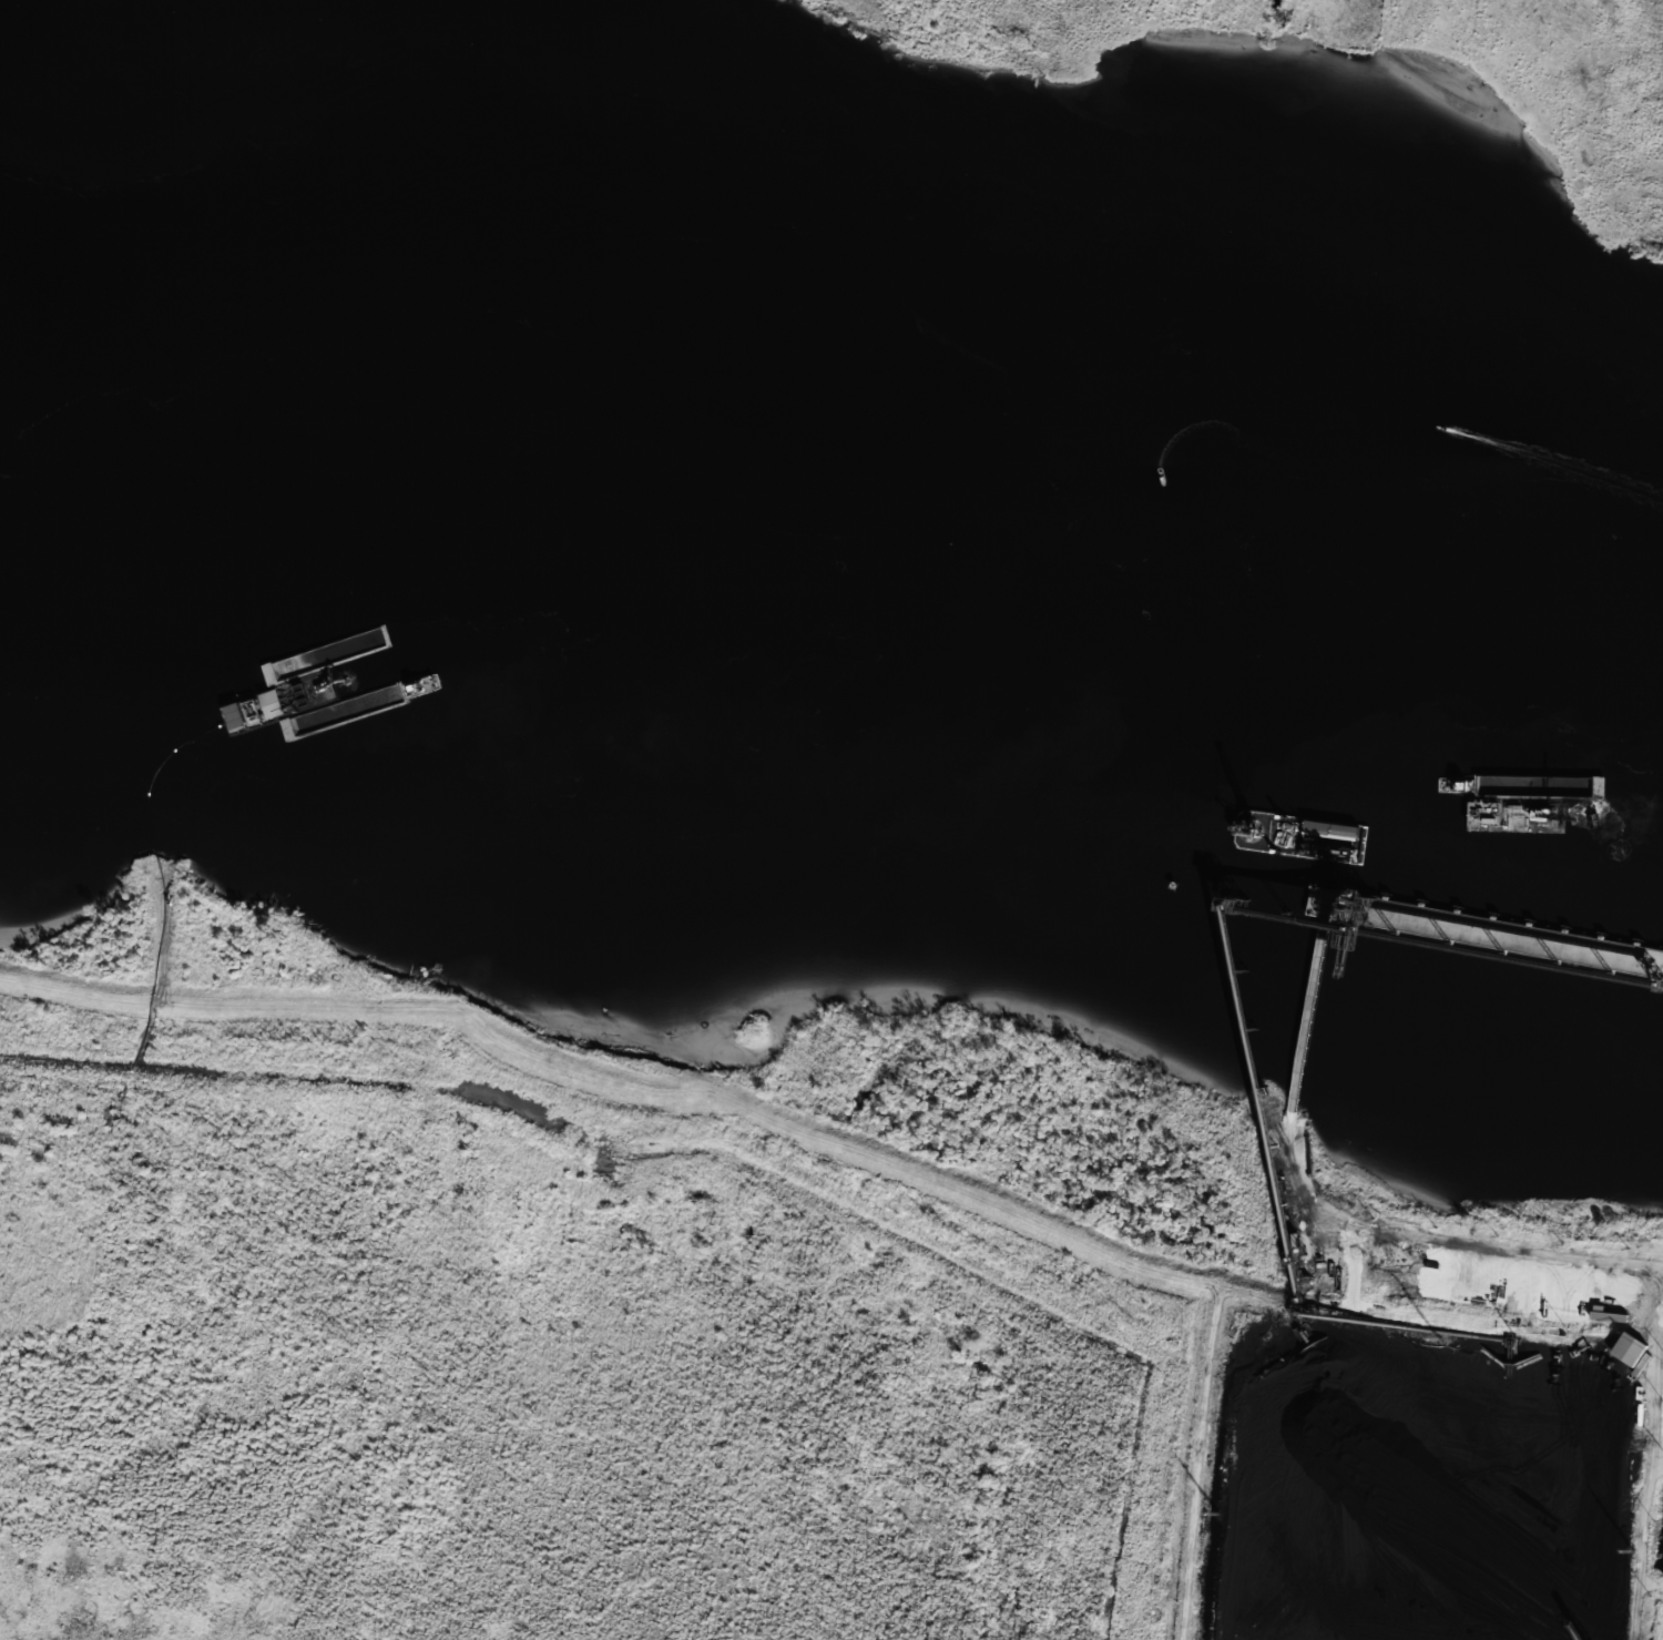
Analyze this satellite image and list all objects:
river: (831, 547)
building: (1631, 1349)

